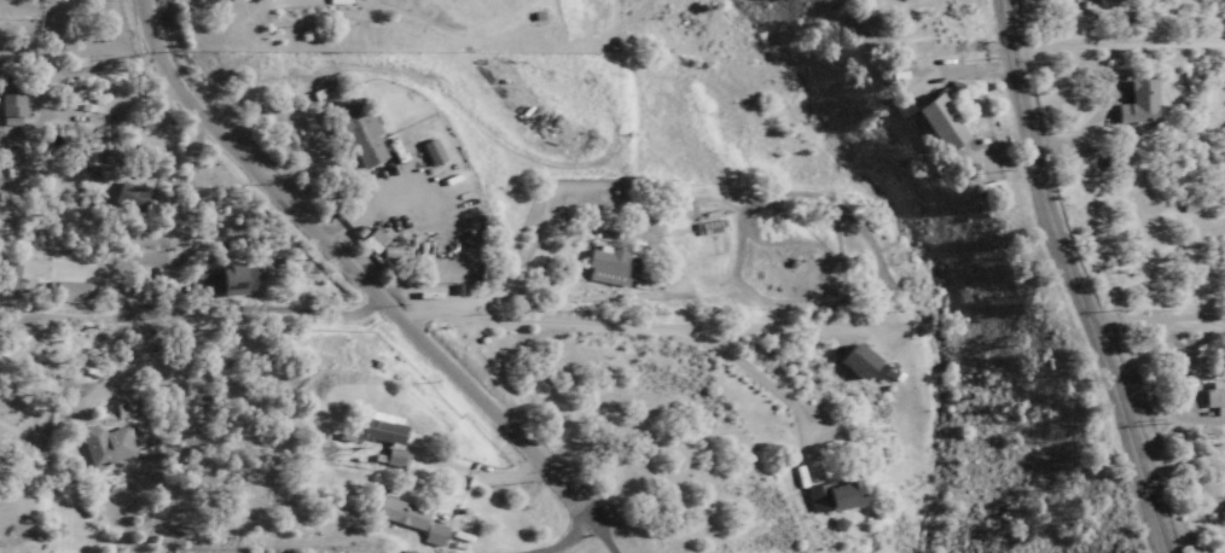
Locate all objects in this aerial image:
building: (1119, 0)
road: (1114, 34)
building: (11, 103)
building: (1137, 105)
building: (936, 123)
building: (358, 134)
building: (429, 153)
building: (608, 262)
road: (355, 269)
road: (1067, 279)
building: (230, 281)
building: (70, 293)
road: (197, 310)
building: (857, 362)
building: (1214, 397)
building: (383, 436)
building: (106, 447)
building: (835, 495)
building: (410, 519)
road: (464, 549)

